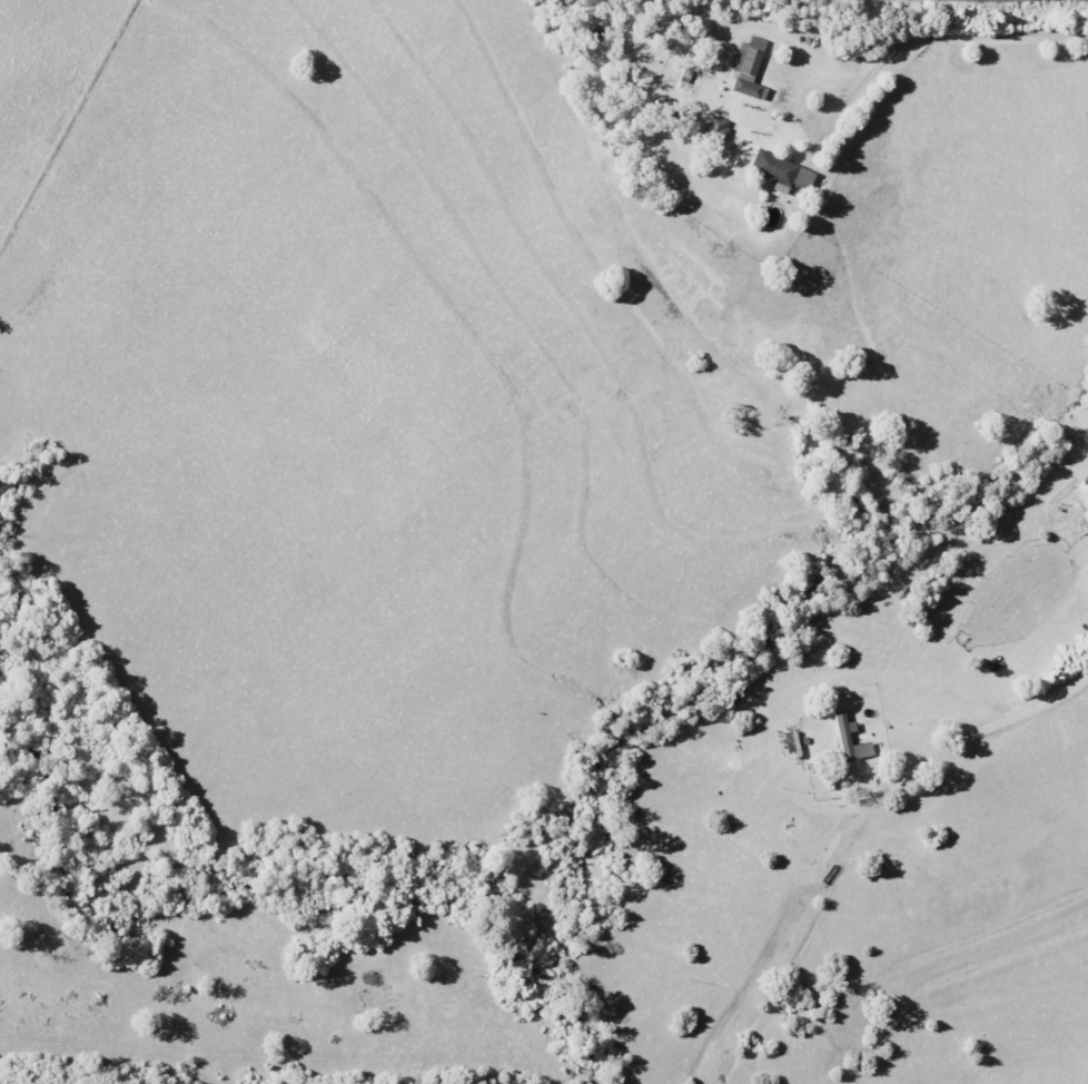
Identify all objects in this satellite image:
road: (933, 38)
building: (746, 69)
building: (714, 129)
building: (780, 173)
road: (980, 727)
building: (842, 736)

